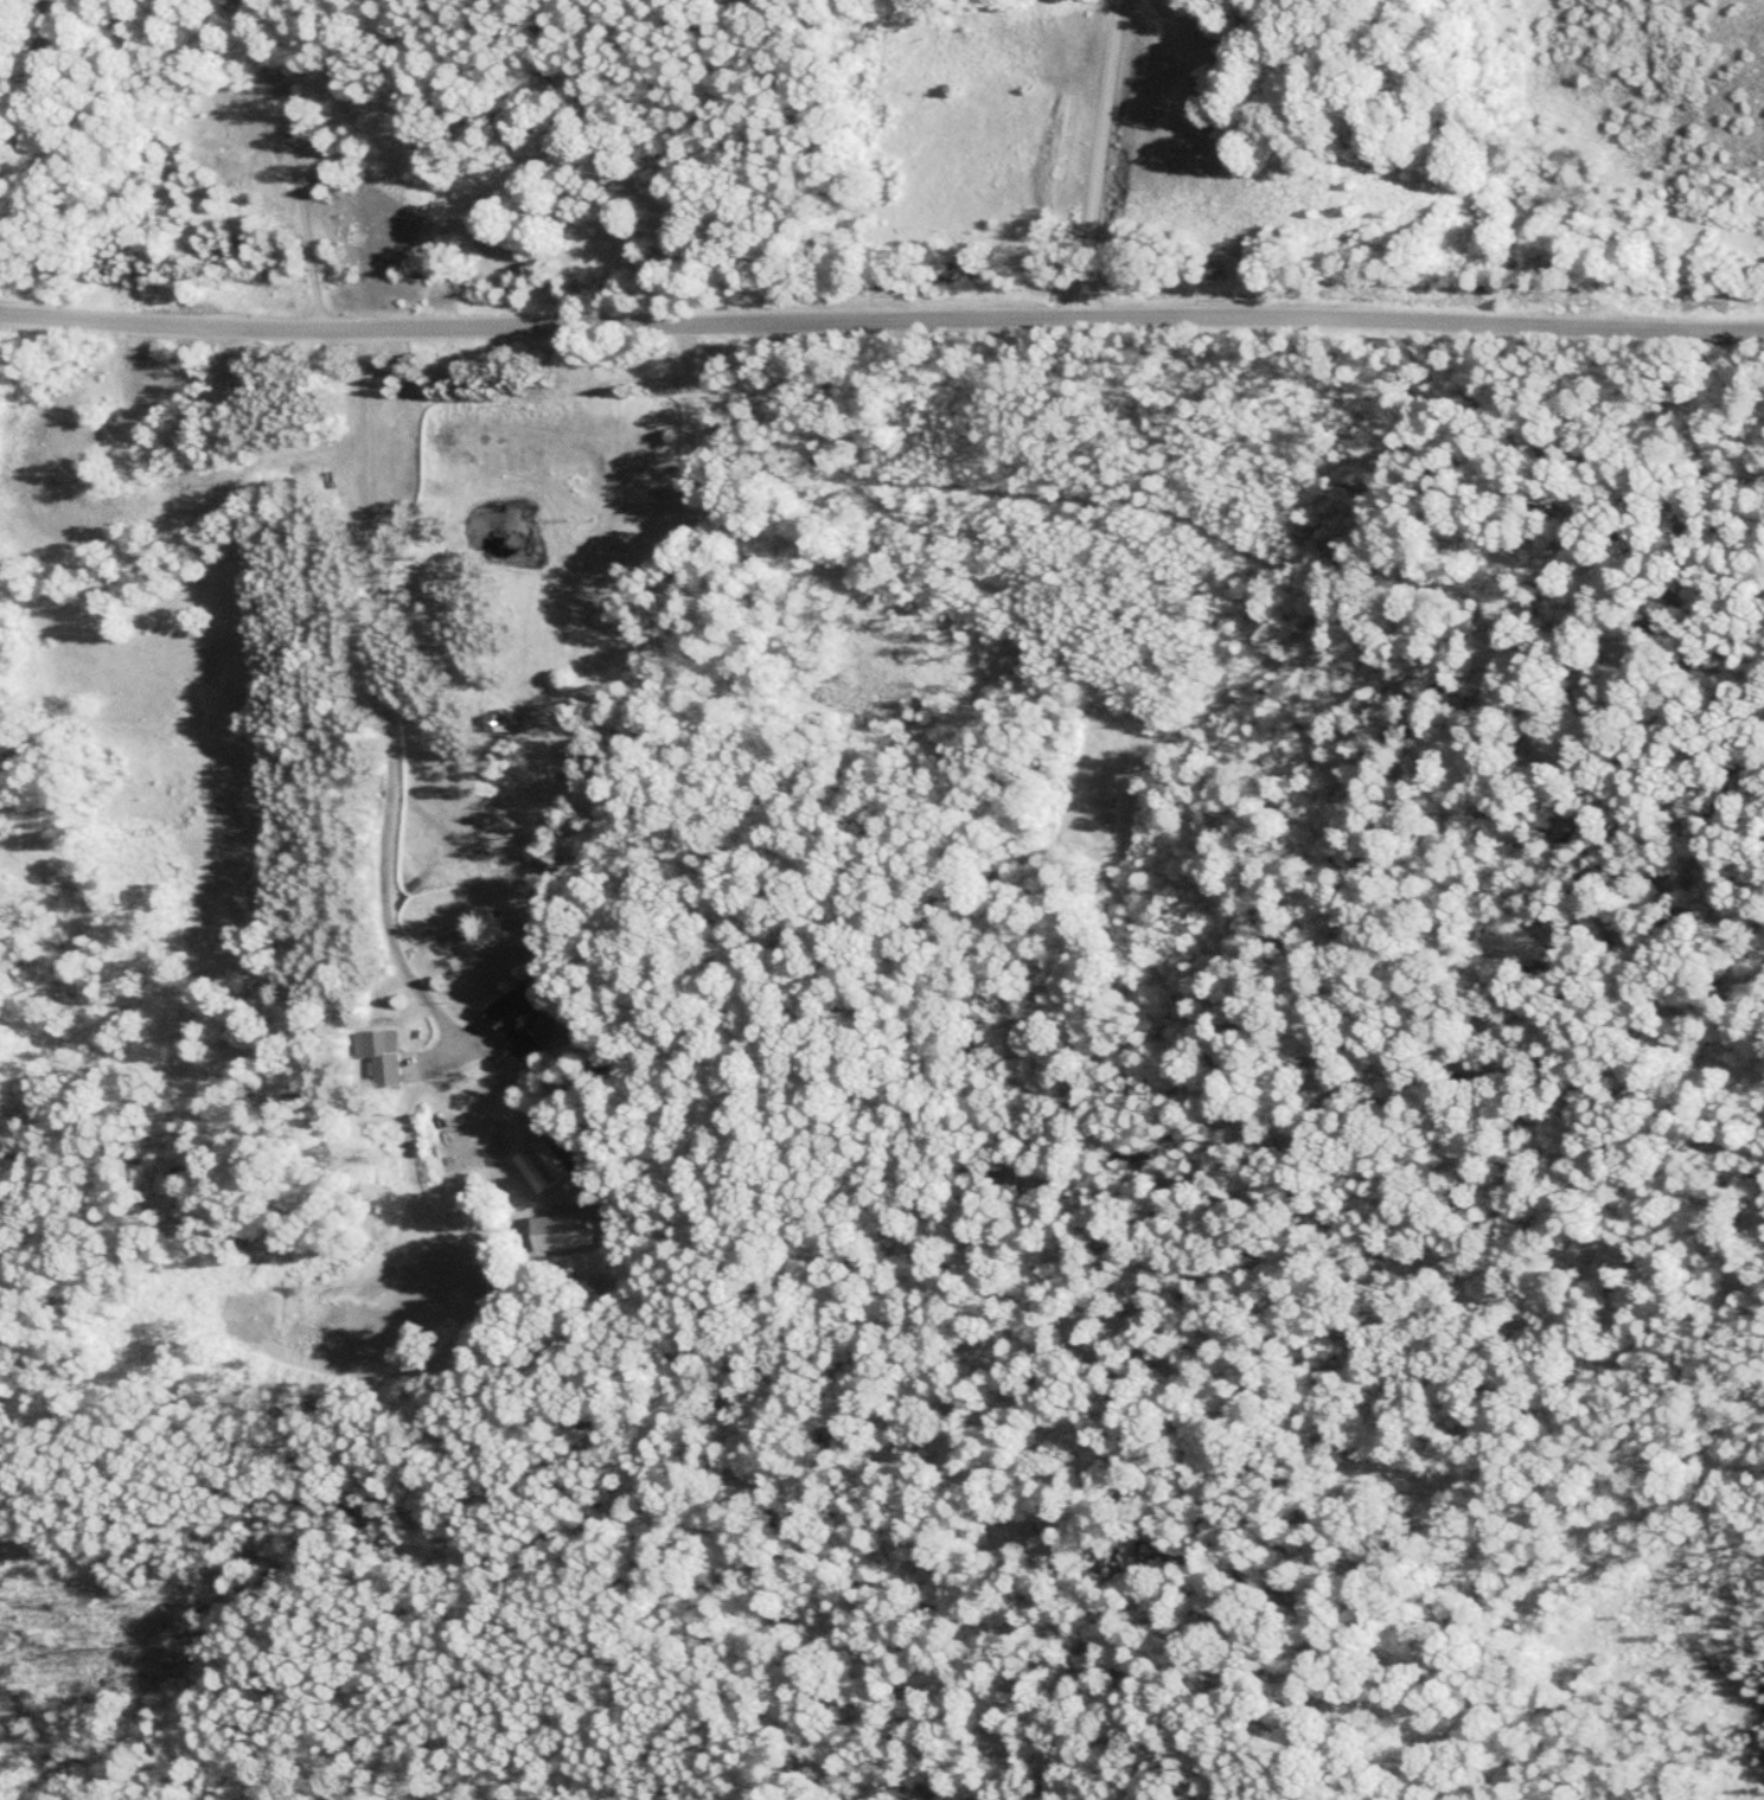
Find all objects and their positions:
road: (44, 28)
building: (8, 59)
road: (1101, 155)
road: (289, 161)
road: (881, 315)
road: (385, 702)
building: (498, 722)
building: (516, 1017)
building: (376, 1052)
building: (537, 1164)
building: (558, 1229)

